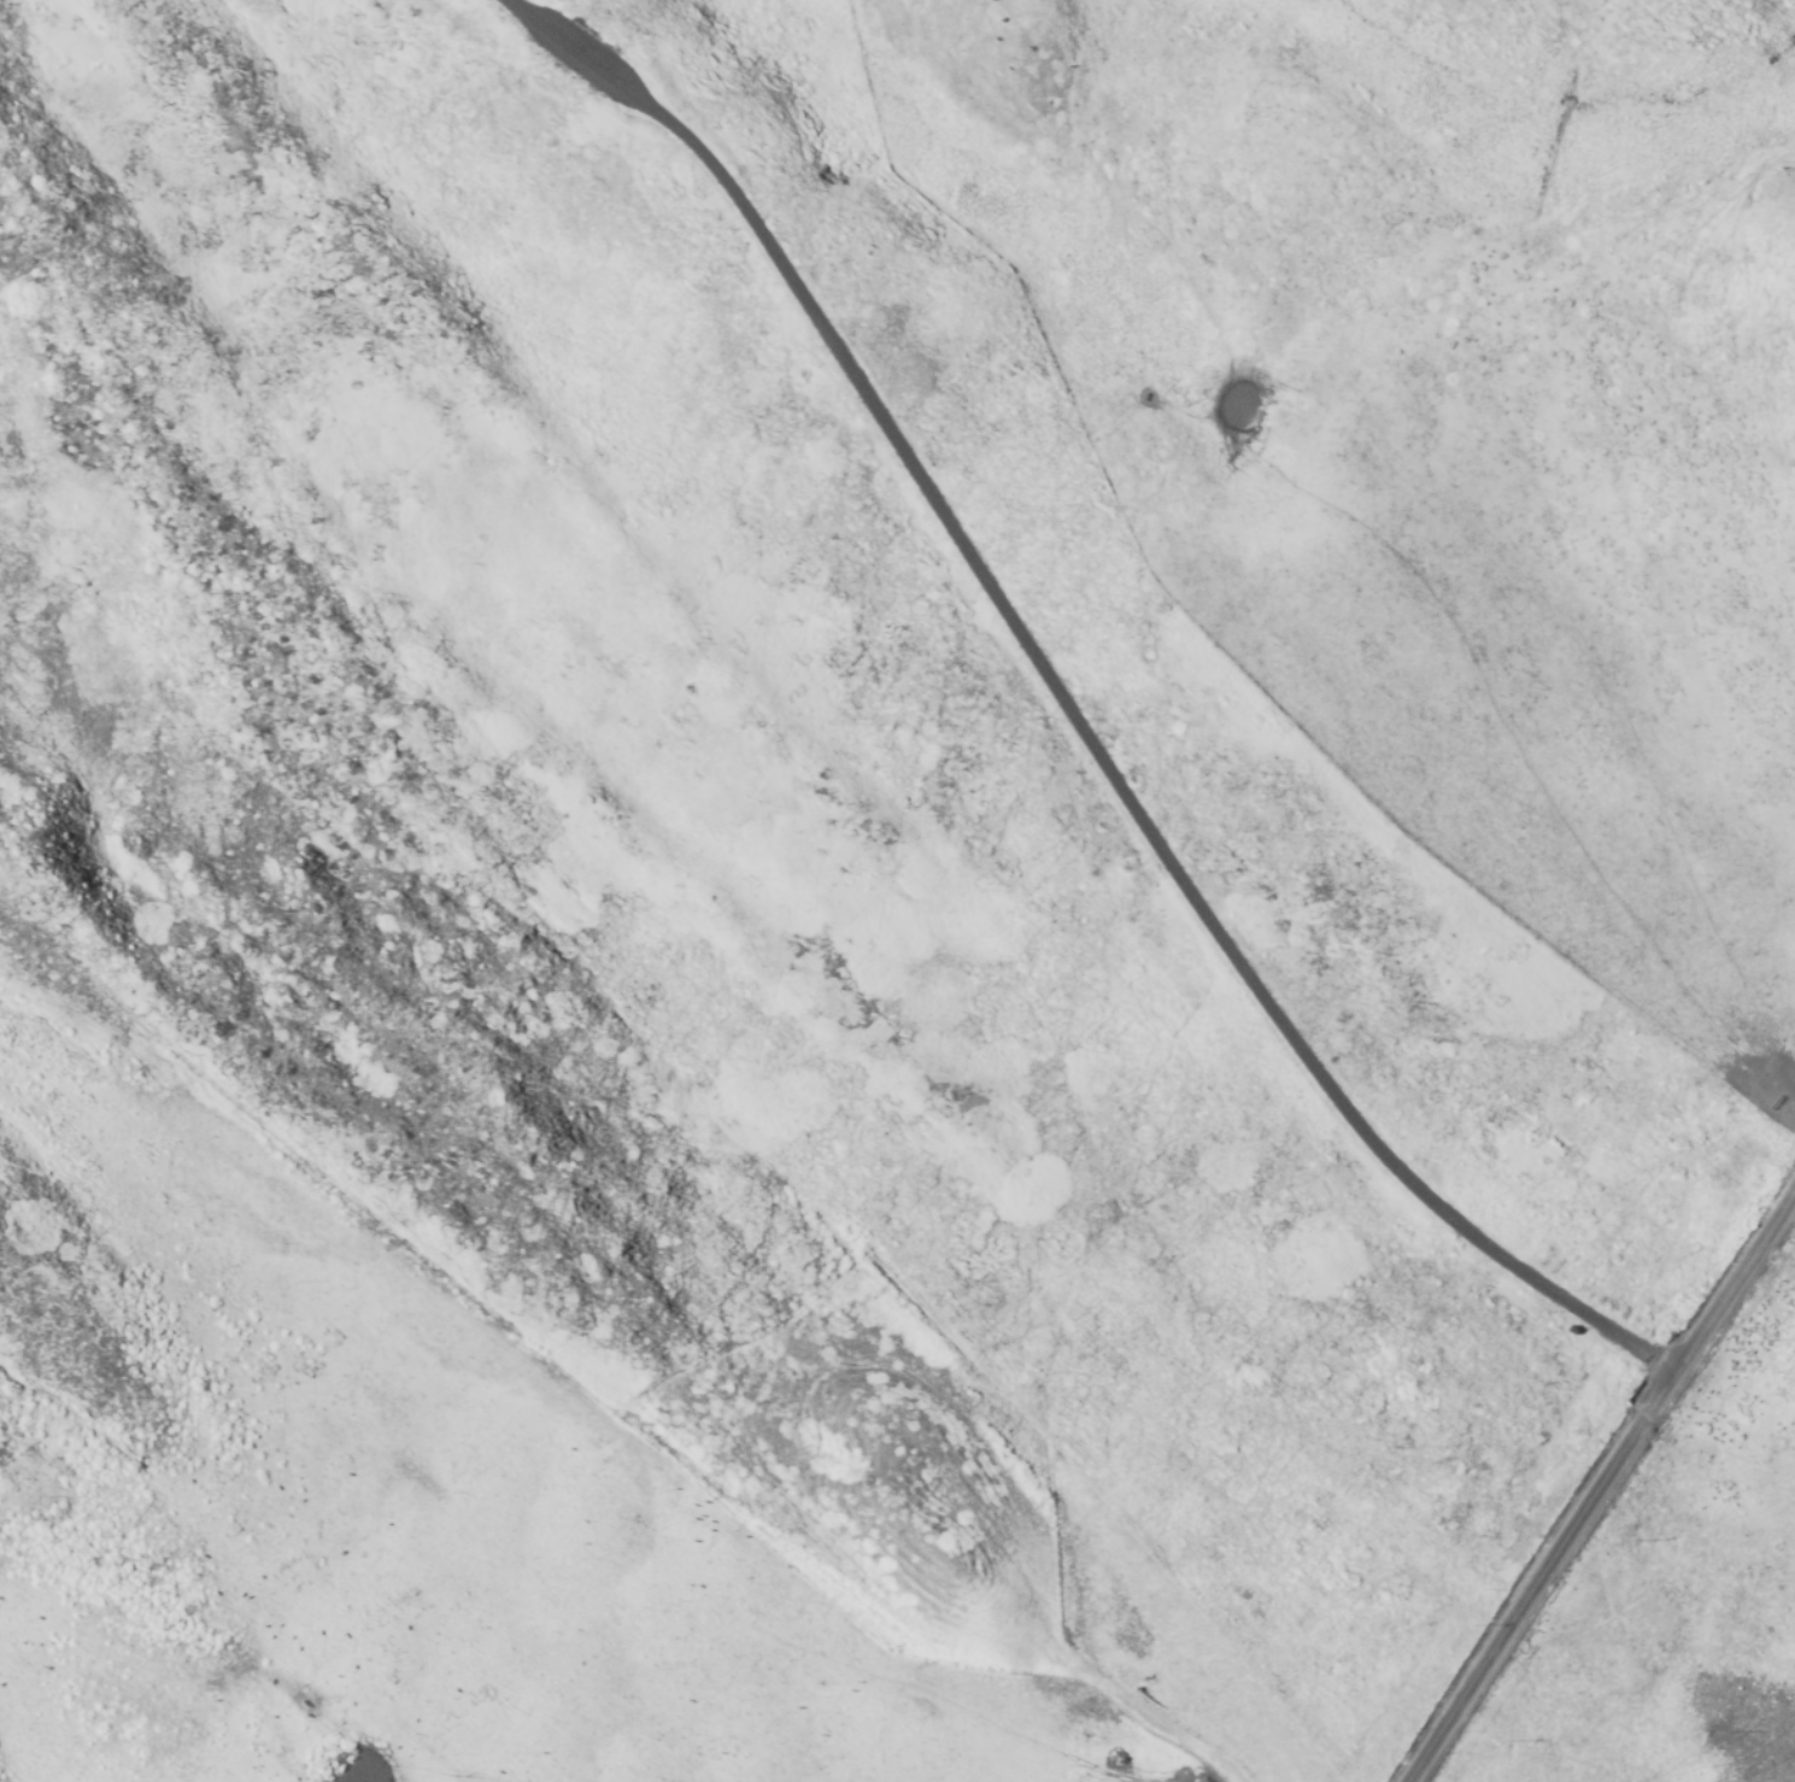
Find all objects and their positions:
road: (1067, 708)
road: (1602, 1482)
road: (1764, 1769)

